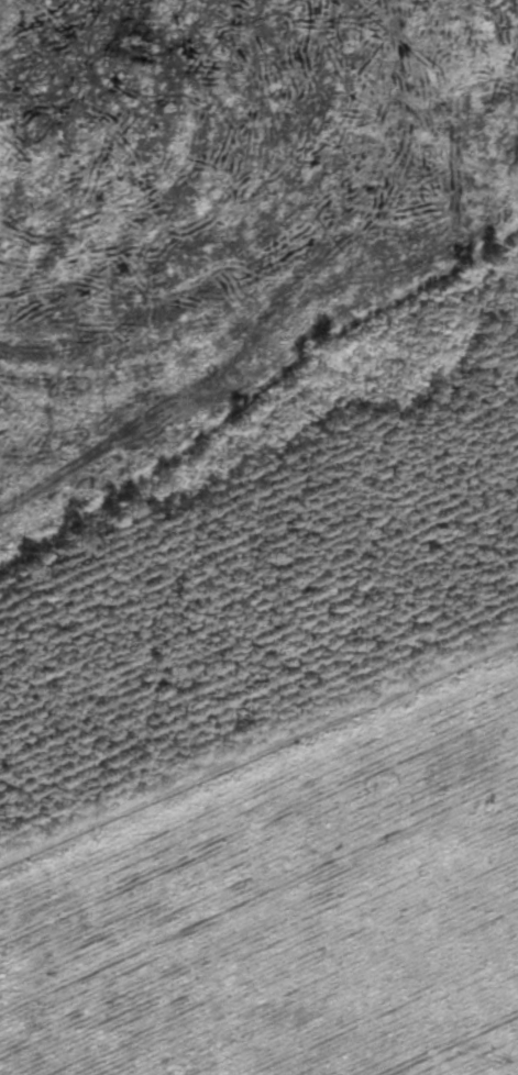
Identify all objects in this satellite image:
road: (258, 744)

